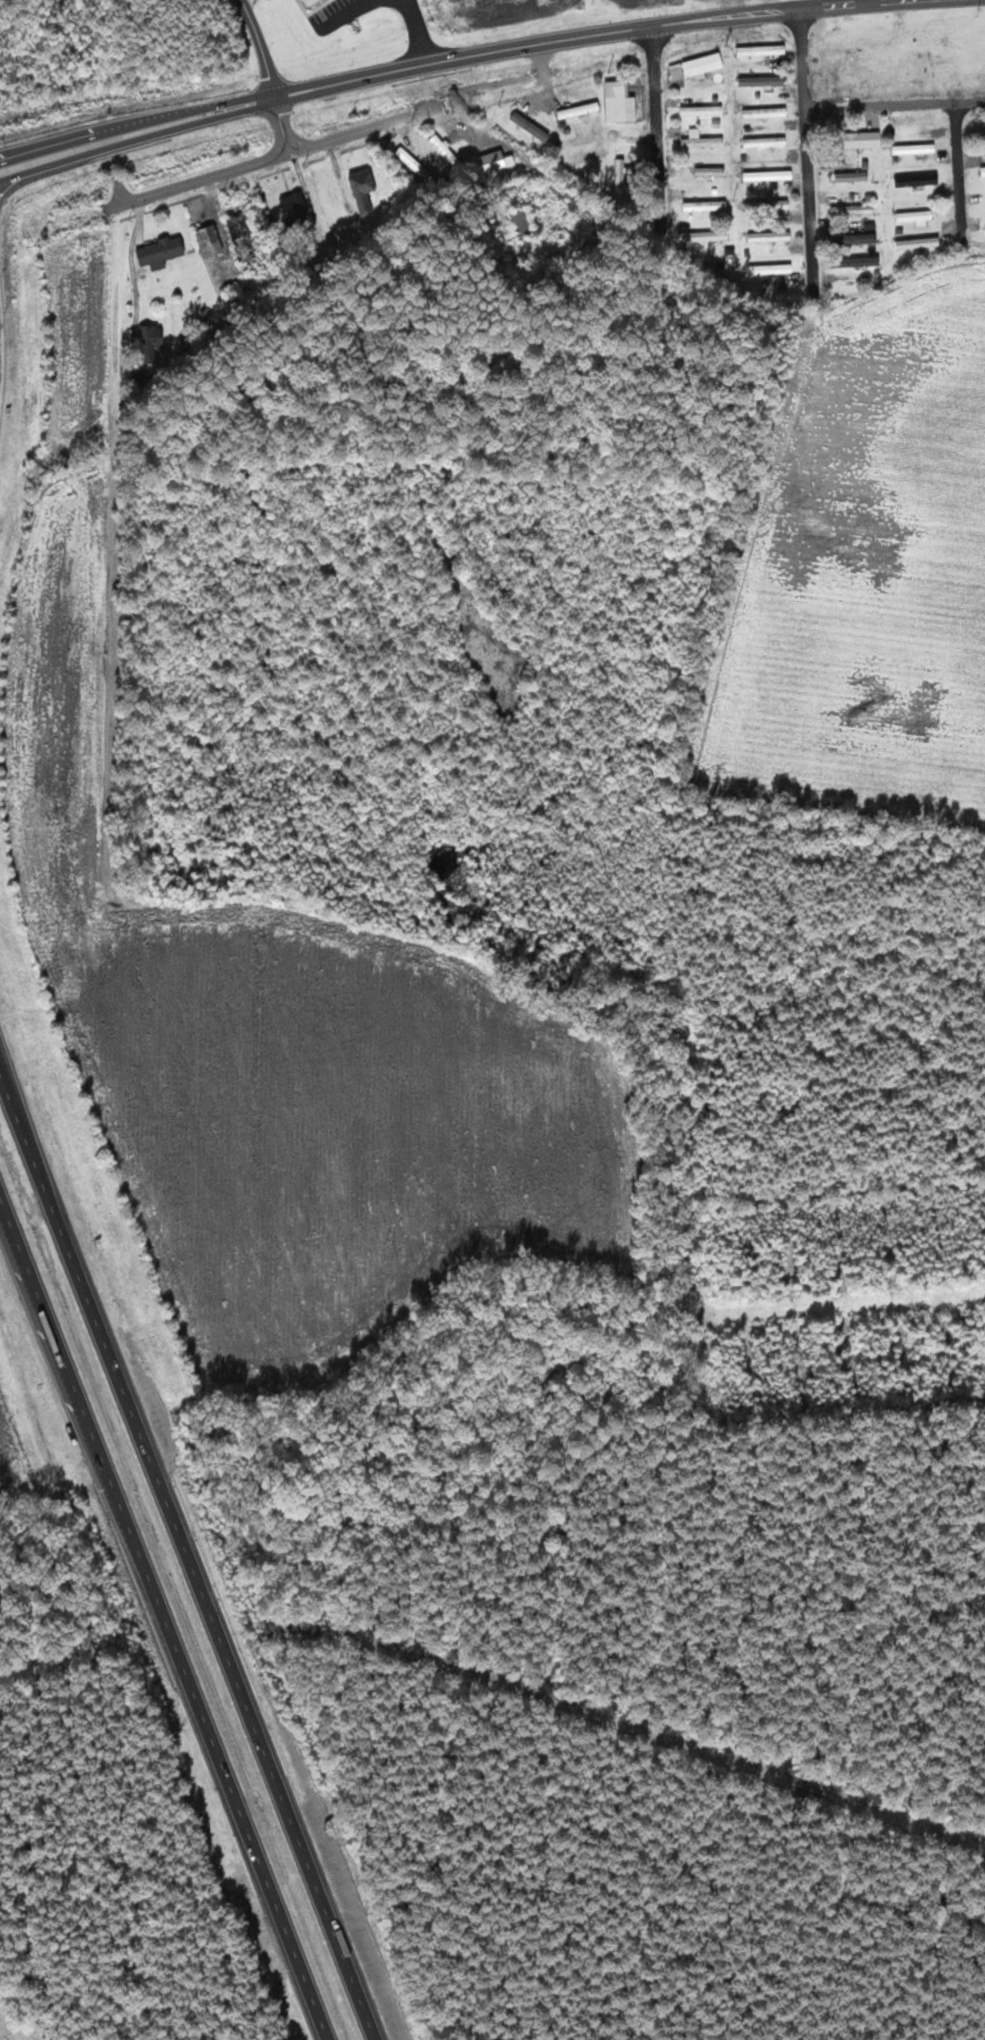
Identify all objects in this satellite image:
building: (314, 2)
road: (876, 2)
road: (349, 13)
road: (738, 14)
road: (416, 32)
road: (262, 48)
building: (764, 50)
building: (698, 66)
road: (413, 67)
building: (766, 81)
building: (622, 102)
road: (894, 104)
building: (581, 110)
building: (704, 110)
road: (657, 112)
building: (766, 112)
road: (285, 125)
building: (532, 126)
road: (138, 132)
building: (982, 135)
building: (867, 139)
building: (703, 140)
building: (766, 142)
road: (806, 146)
building: (917, 148)
road: (277, 157)
building: (496, 161)
road: (962, 161)
building: (415, 163)
building: (712, 171)
building: (984, 171)
building: (769, 175)
building: (853, 176)
building: (619, 179)
building: (918, 180)
building: (366, 188)
building: (707, 205)
building: (768, 205)
building: (294, 208)
building: (854, 209)
building: (917, 215)
building: (238, 220)
building: (520, 222)
building: (705, 236)
building: (856, 238)
building: (212, 240)
building: (916, 242)
building: (163, 252)
building: (861, 261)
building: (774, 269)
building: (154, 337)
road: (689, 1339)
road: (192, 1555)
road: (161, 1623)

